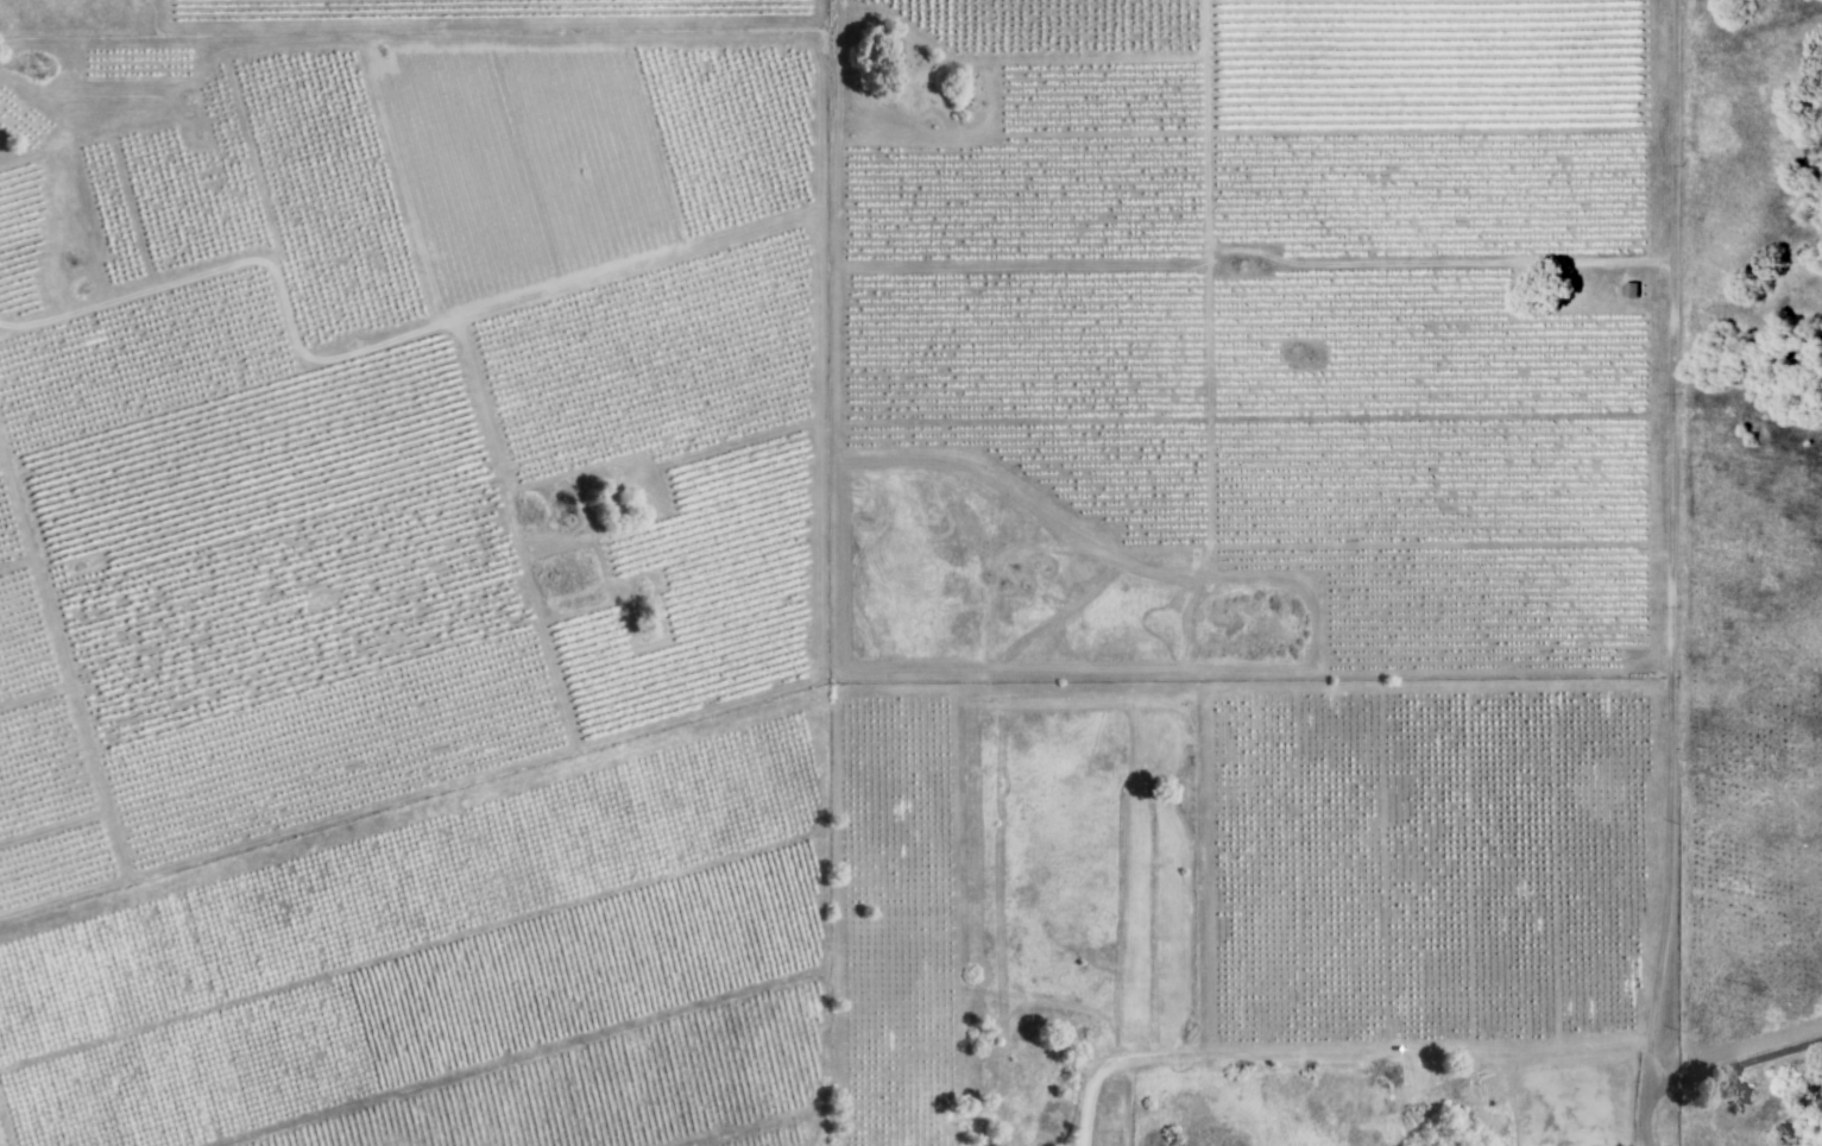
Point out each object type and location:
building: (1631, 290)
road: (1667, 573)
road: (1734, 1064)

